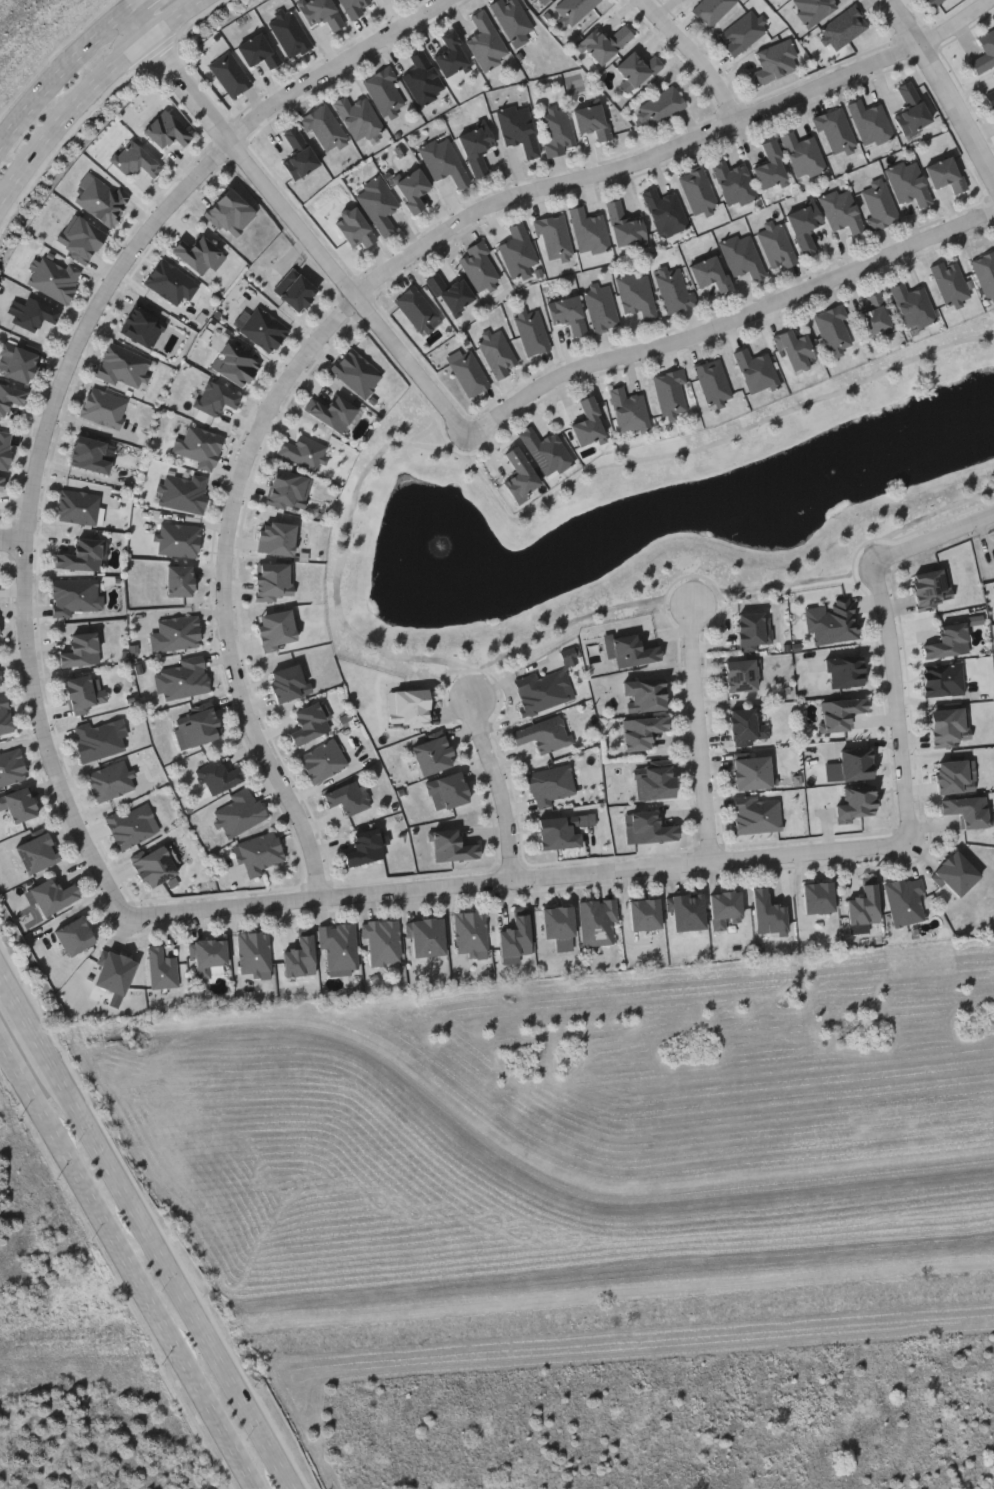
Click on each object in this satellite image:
building: (547, 0)
building: (933, 2)
building: (353, 7)
building: (812, 9)
building: (572, 10)
building: (710, 10)
road: (148, 11)
building: (320, 13)
building: (511, 18)
road: (958, 24)
building: (843, 27)
road: (142, 32)
building: (742, 32)
building: (289, 33)
building: (485, 42)
building: (604, 44)
building: (258, 50)
building: (984, 52)
building: (451, 56)
road: (696, 57)
building: (774, 62)
road: (337, 67)
building: (635, 70)
building: (993, 73)
building: (228, 74)
building: (423, 79)
road: (944, 86)
road: (60, 87)
road: (95, 91)
building: (384, 91)
building: (990, 97)
building: (659, 107)
building: (910, 109)
building: (357, 117)
building: (591, 120)
building: (870, 123)
building: (518, 128)
building: (165, 129)
building: (325, 130)
building: (556, 131)
building: (834, 131)
building: (475, 145)
building: (298, 154)
building: (802, 155)
building: (133, 159)
building: (443, 161)
road: (634, 164)
building: (770, 166)
building: (944, 174)
building: (733, 183)
building: (908, 183)
building: (412, 189)
building: (697, 192)
building: (100, 199)
building: (377, 204)
building: (877, 204)
building: (840, 211)
building: (664, 212)
building: (229, 214)
building: (624, 226)
building: (804, 226)
building: (353, 228)
building: (588, 231)
building: (552, 237)
road: (310, 239)
building: (80, 240)
building: (775, 245)
building: (517, 250)
building: (197, 255)
building: (742, 256)
building: (479, 267)
building: (709, 271)
building: (985, 273)
building: (54, 278)
building: (168, 281)
building: (950, 284)
building: (674, 289)
building: (294, 290)
building: (450, 293)
building: (636, 295)
building: (912, 306)
building: (600, 307)
building: (416, 309)
building: (31, 313)
building: (567, 314)
building: (874, 316)
road: (91, 322)
building: (142, 323)
road: (729, 323)
building: (262, 329)
building: (832, 329)
building: (530, 331)
building: (796, 350)
building: (496, 353)
building: (18, 364)
building: (235, 365)
building: (122, 366)
building: (755, 370)
building: (355, 372)
building: (468, 373)
building: (712, 382)
building: (669, 391)
building: (10, 397)
building: (216, 398)
building: (103, 407)
building: (333, 411)
building: (628, 411)
building: (587, 423)
building: (197, 446)
building: (5, 448)
building: (302, 451)
building: (545, 451)
building: (88, 454)
building: (519, 476)
building: (1, 482)
building: (287, 489)
building: (184, 492)
building: (77, 507)
road: (973, 523)
building: (275, 538)
building: (178, 540)
road: (13, 541)
building: (81, 556)
building: (179, 580)
building: (273, 581)
building: (930, 588)
road: (224, 590)
building: (74, 596)
building: (831, 622)
building: (275, 629)
building: (753, 629)
building: (178, 632)
building: (0, 636)
building: (947, 642)
building: (630, 648)
building: (79, 649)
road: (895, 662)
building: (844, 671)
building: (740, 675)
building: (181, 679)
building: (942, 679)
building: (0, 682)
building: (287, 683)
building: (543, 689)
building: (83, 691)
building: (644, 693)
building: (408, 708)
building: (840, 712)
building: (4, 717)
building: (309, 723)
building: (743, 724)
building: (949, 726)
building: (196, 727)
building: (641, 731)
road: (699, 732)
building: (544, 734)
road: (47, 738)
building: (98, 739)
building: (432, 753)
building: (322, 761)
building: (11, 766)
building: (850, 766)
building: (751, 772)
building: (217, 776)
building: (952, 776)
building: (109, 780)
building: (653, 780)
building: (550, 785)
road: (500, 788)
building: (447, 791)
building: (347, 798)
building: (857, 802)
building: (19, 805)
building: (967, 811)
building: (239, 812)
building: (756, 814)
building: (132, 825)
building: (651, 829)
building: (558, 833)
building: (452, 846)
building: (365, 847)
building: (36, 853)
building: (259, 853)
building: (153, 866)
building: (954, 875)
road: (521, 882)
building: (52, 895)
building: (818, 896)
building: (904, 900)
building: (863, 905)
building: (723, 907)
building: (687, 911)
building: (644, 913)
building: (768, 913)
building: (557, 921)
building: (597, 922)
building: (470, 931)
building: (73, 936)
building: (427, 936)
building: (515, 937)
building: (382, 942)
building: (338, 947)
building: (253, 951)
building: (207, 954)
building: (299, 956)
building: (162, 969)
building: (113, 971)
road: (4, 986)
road: (150, 1241)
road: (131, 1261)
park: (512, 1424)

